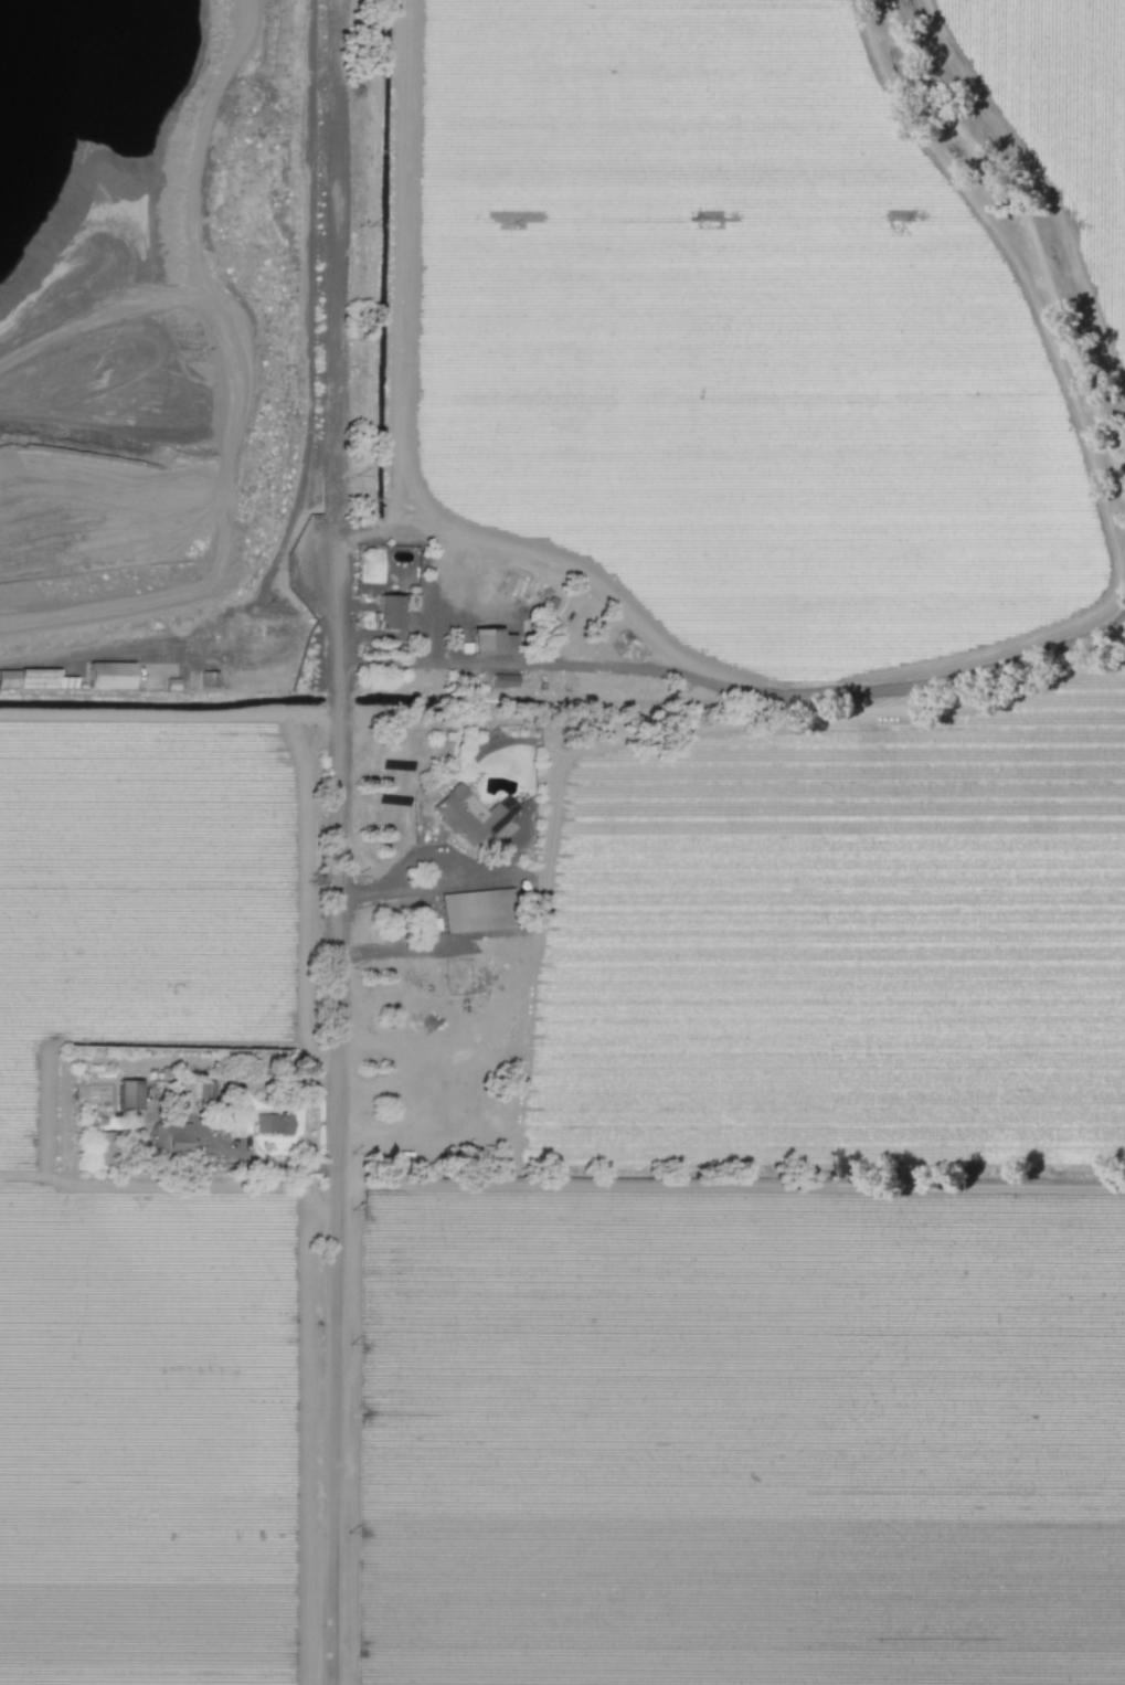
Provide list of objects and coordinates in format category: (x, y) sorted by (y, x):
quarry: (117, 329)
road: (336, 593)
building: (391, 612)
building: (492, 642)
building: (112, 675)
building: (210, 679)
building: (507, 680)
road: (714, 682)
building: (471, 814)
road: (423, 886)
building: (476, 911)
building: (131, 1094)
building: (274, 1124)
building: (170, 1137)
road: (263, 1164)
road: (336, 1180)

